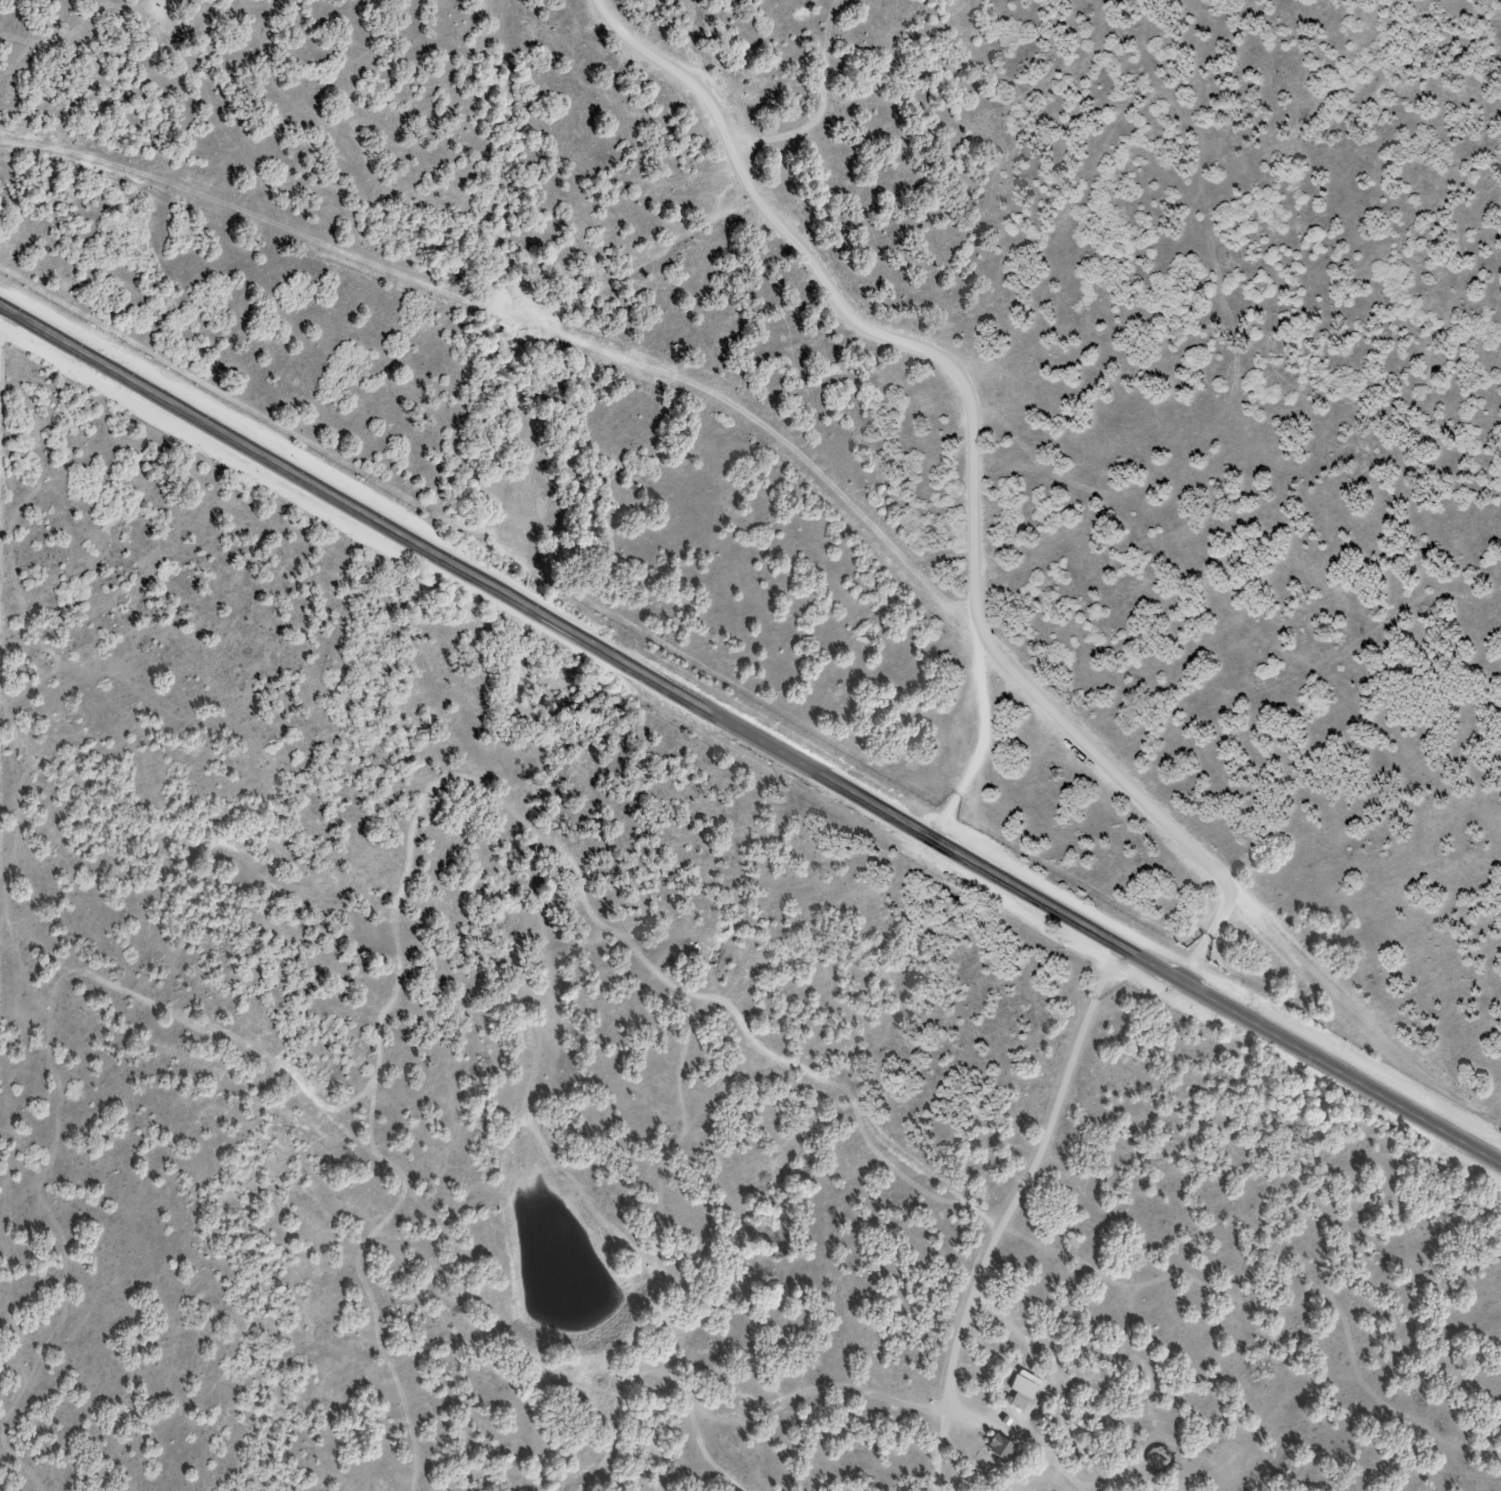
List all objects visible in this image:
road: (750, 735)
road: (347, 1165)
road: (1014, 1217)
building: (1015, 1403)
road: (656, 1442)
building: (1000, 1452)

